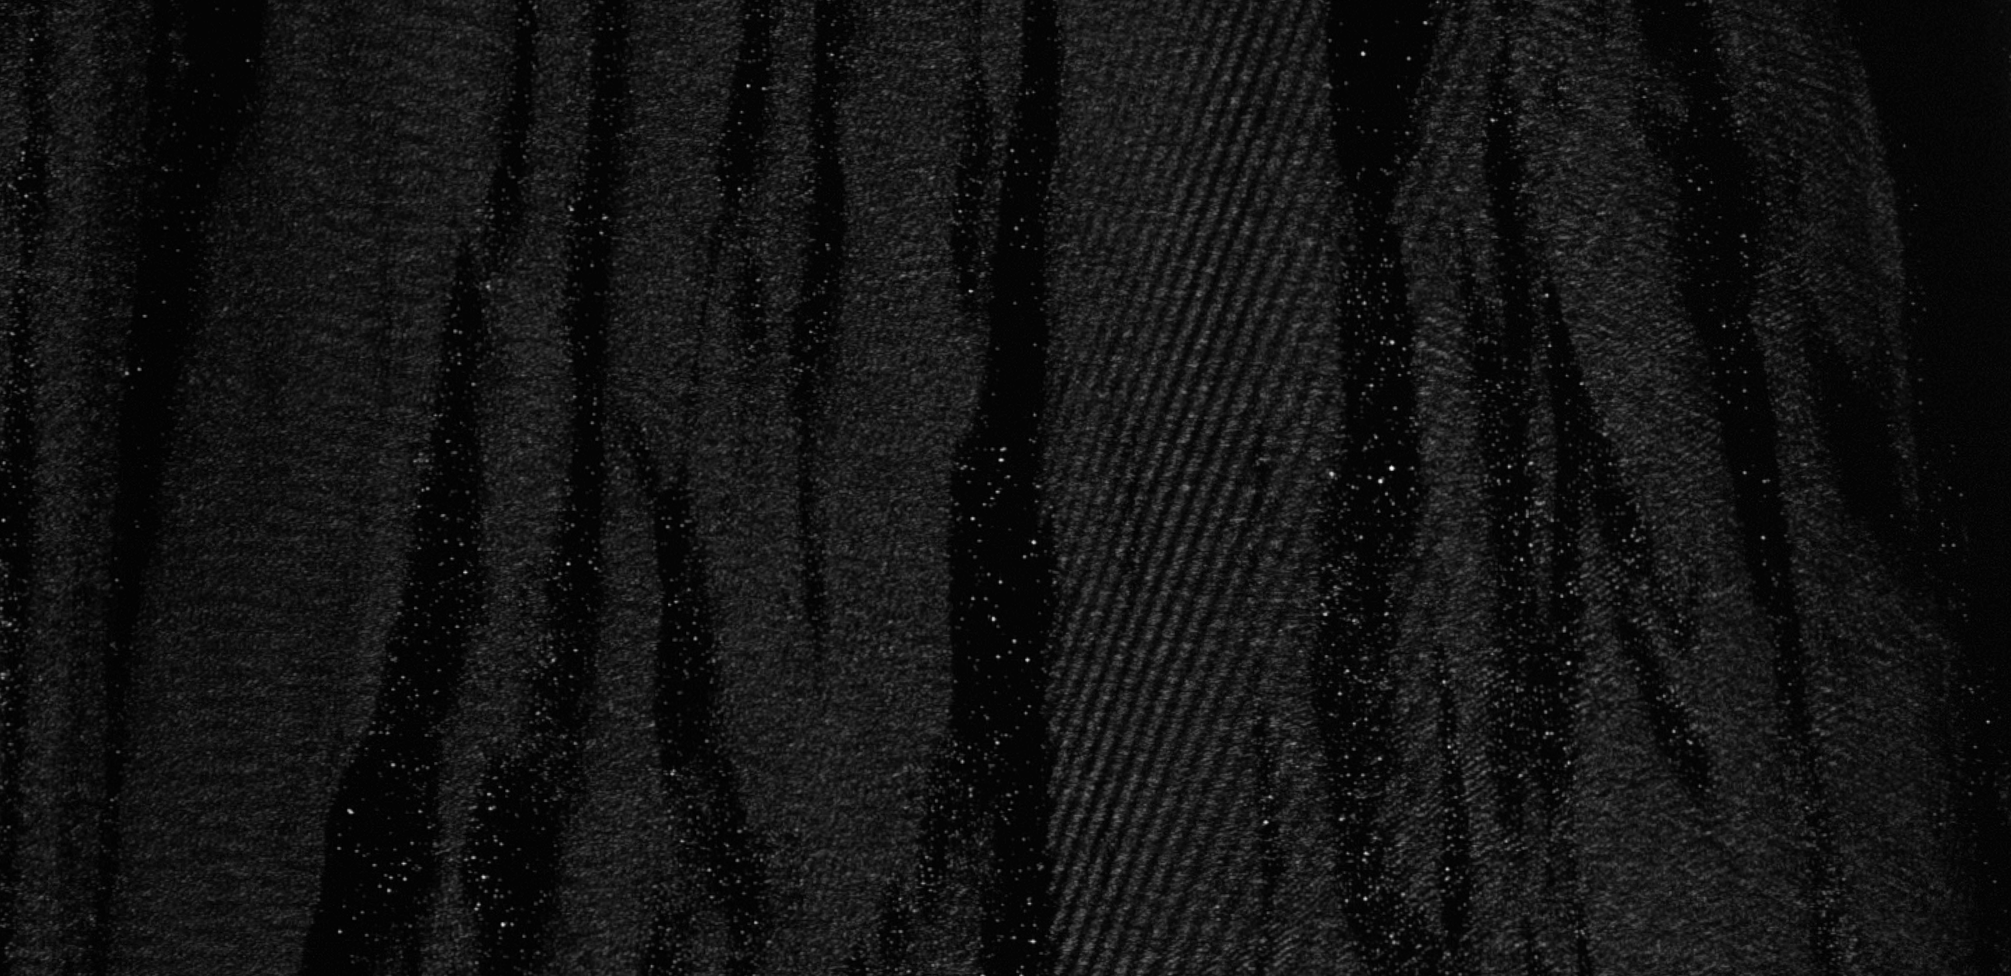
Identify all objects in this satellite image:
park: (1993, 122)

